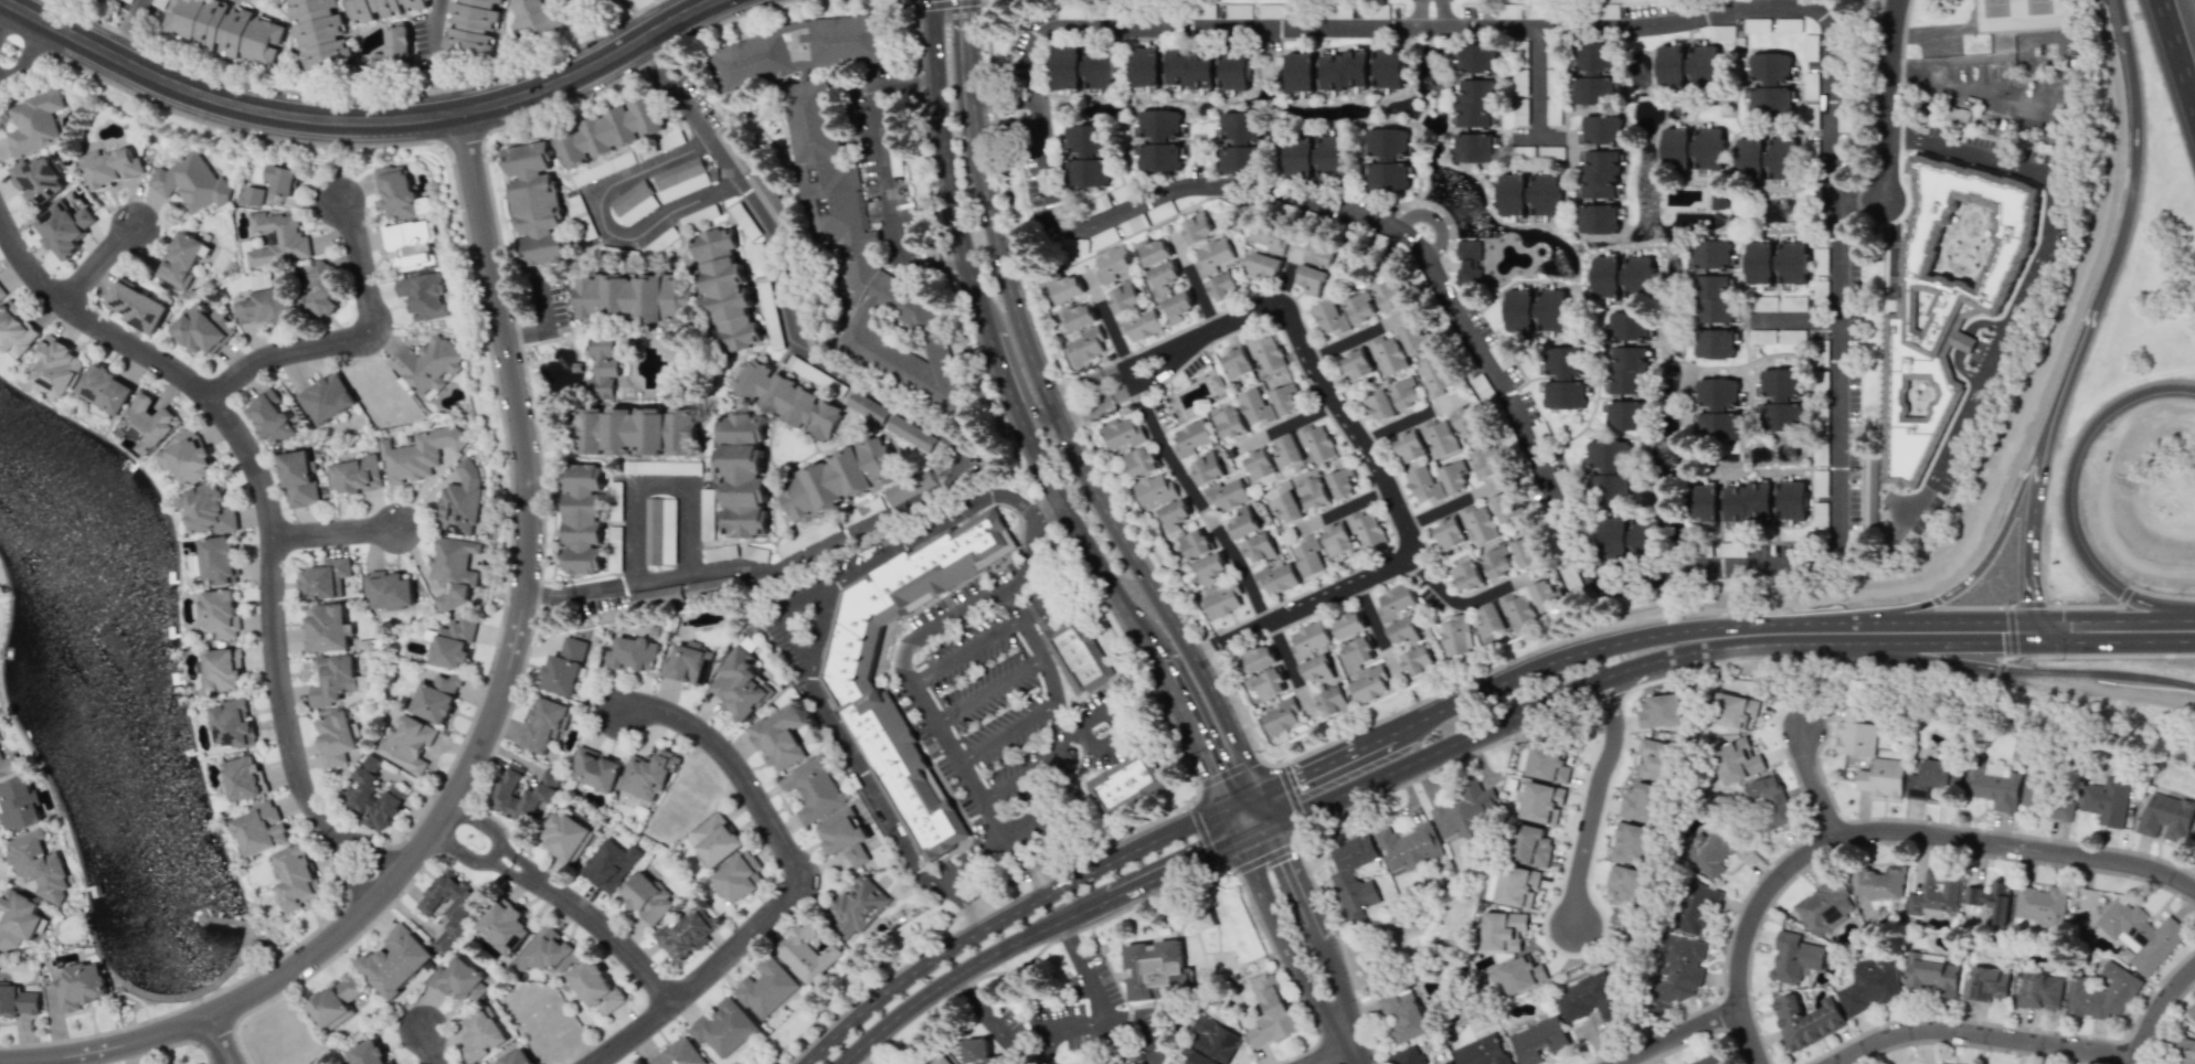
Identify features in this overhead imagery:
building: (385, 8)
building: (1337, 11)
building: (1506, 11)
road: (1420, 14)
road: (1436, 14)
building: (197, 20)
building: (540, 20)
building: (473, 25)
building: (1754, 25)
building: (1788, 25)
road: (1520, 26)
road: (126, 28)
building: (237, 32)
road: (2124, 32)
building: (320, 33)
building: (264, 41)
building: (397, 44)
road: (15, 45)
road: (2177, 53)
road: (437, 57)
building: (1476, 57)
building: (1704, 65)
building: (1144, 66)
building: (1671, 66)
building: (1065, 67)
building: (1188, 67)
road: (968, 68)
building: (1388, 68)
building: (1100, 70)
building: (1343, 70)
building: (1233, 71)
building: (1519, 71)
building: (1298, 72)
building: (1593, 73)
road: (1537, 78)
building: (1550, 82)
building: (1769, 84)
road: (1969, 88)
road: (1886, 99)
building: (1474, 103)
building: (1552, 111)
road: (1003, 116)
building: (1809, 119)
road: (361, 121)
building: (34, 123)
building: (1600, 129)
building: (612, 130)
building: (1158, 140)
building: (667, 141)
building: (730, 142)
building: (1239, 142)
building: (1675, 147)
building: (1473, 148)
building: (1709, 149)
building: (1333, 153)
building: (1085, 156)
building: (1749, 156)
building: (1297, 157)
building: (1387, 158)
building: (1783, 159)
building: (110, 167)
building: (1599, 173)
building: (38, 179)
building: (282, 179)
building: (681, 179)
road: (884, 179)
building: (192, 182)
road: (2131, 188)
building: (396, 191)
building: (844, 193)
building: (1512, 194)
building: (1545, 194)
building: (253, 195)
building: (1718, 198)
building: (768, 199)
road: (1858, 200)
building: (536, 202)
building: (634, 203)
building: (1097, 203)
road: (596, 217)
road: (1432, 217)
building: (1598, 219)
building: (745, 223)
building: (64, 227)
building: (1196, 228)
building: (1269, 237)
building: (278, 240)
building: (409, 243)
building: (1153, 251)
building: (1318, 252)
building: (1710, 253)
building: (1212, 256)
building: (759, 258)
building: (182, 259)
building: (1818, 260)
building: (1468, 263)
building: (1758, 263)
building: (1791, 263)
road: (99, 264)
building: (1113, 265)
building: (1262, 266)
building: (1639, 275)
building: (1163, 276)
road: (1286, 276)
building: (1605, 277)
building: (1311, 279)
road: (2028, 279)
road: (1196, 284)
building: (1222, 286)
building: (1064, 287)
building: (320, 290)
building: (725, 290)
building: (2, 292)
building: (424, 296)
building: (1388, 296)
building: (1943, 296)
building: (1122, 297)
building: (1712, 298)
building: (632, 299)
building: (1762, 304)
building: (1791, 304)
building: (265, 305)
building: (137, 306)
building: (1177, 306)
building: (1359, 308)
building: (1518, 309)
building: (1552, 310)
building: (1077, 316)
building: (1328, 317)
road: (1793, 318)
road: (1107, 324)
building: (1139, 324)
building: (1627, 324)
building: (15, 329)
building: (202, 329)
building: (1761, 336)
road: (1353, 337)
building: (1414, 339)
road: (353, 341)
building: (1714, 343)
building: (1085, 345)
road: (994, 347)
building: (1266, 352)
building: (1386, 355)
road: (1008, 360)
building: (1236, 362)
road: (2072, 362)
building: (428, 364)
building: (1355, 364)
building: (56, 365)
building: (603, 366)
building: (800, 366)
building: (1626, 370)
road: (1109, 371)
building: (1436, 375)
building: (1563, 377)
building: (1820, 382)
building: (106, 389)
road: (1121, 390)
building: (1403, 394)
building: (328, 398)
building: (1285, 398)
building: (1780, 398)
building: (791, 400)
building: (1254, 406)
building: (1379, 406)
building: (1716, 408)
building: (870, 409)
building: (1625, 415)
building: (271, 417)
road: (1409, 421)
building: (1466, 422)
building: (1229, 423)
building: (147, 424)
road: (1287, 425)
road: (1521, 426)
road: (936, 428)
building: (586, 432)
building: (649, 432)
building: (910, 433)
building: (1122, 433)
building: (1439, 436)
building: (1189, 437)
building: (1316, 443)
road: (1361, 446)
building: (1408, 446)
building: (1286, 450)
building: (418, 454)
building: (187, 457)
building: (1139, 461)
building: (1485, 461)
building: (1258, 465)
building: (664, 467)
building: (1206, 468)
building: (1607, 470)
building: (742, 474)
building: (356, 475)
building: (1453, 477)
building: (298, 478)
road: (1085, 478)
building: (837, 479)
building: (1340, 482)
road: (661, 483)
building: (1422, 485)
building: (909, 487)
building: (1154, 489)
road: (1192, 493)
building: (1226, 494)
building: (1312, 494)
road: (2070, 499)
building: (707, 500)
building: (1791, 500)
building: (460, 501)
building: (1746, 502)
building: (1703, 503)
building: (1284, 507)
road: (1344, 507)
road: (1446, 507)
building: (1504, 507)
building: (206, 509)
road: (268, 511)
building: (1171, 515)
road: (953, 518)
building: (582, 519)
building: (1242, 523)
building: (1477, 523)
road: (2033, 524)
building: (1366, 529)
building: (659, 531)
road: (688, 531)
building: (1448, 533)
road: (629, 535)
building: (1645, 535)
road: (337, 536)
building: (1612, 538)
road: (1028, 539)
building: (1335, 539)
building: (1195, 543)
building: (1258, 547)
building: (614, 549)
building: (1524, 551)
building: (1306, 556)
road: (1987, 557)
building: (219, 560)
building: (1495, 562)
building: (1209, 568)
building: (453, 571)
road: (850, 574)
building: (1466, 576)
building: (1275, 577)
building: (325, 578)
building: (707, 587)
building: (389, 588)
building: (656, 595)
building: (1544, 597)
road: (806, 598)
building: (1222, 600)
building: (1395, 600)
road: (1463, 603)
road: (959, 610)
building: (1518, 611)
building: (220, 613)
building: (1488, 619)
building: (1347, 624)
road: (1375, 626)
building: (327, 627)
road: (2114, 629)
road: (1945, 630)
building: (1402, 631)
road: (1781, 632)
road: (1228, 635)
building: (1454, 636)
road: (798, 638)
building: (1307, 639)
building: (453, 642)
road: (902, 650)
road: (965, 650)
building: (1358, 651)
road: (1688, 651)
building: (634, 653)
building: (1078, 653)
road: (2098, 655)
building: (1258, 658)
building: (1417, 661)
road: (1287, 663)
road: (1545, 663)
building: (688, 664)
building: (564, 667)
building: (221, 668)
building: (1316, 669)
road: (2000, 669)
road: (1634, 670)
road: (1047, 672)
road: (2024, 672)
building: (333, 680)
building: (849, 683)
building: (1269, 683)
building: (1369, 684)
building: (739, 685)
road: (987, 688)
building: (437, 698)
road: (1798, 699)
building: (1332, 701)
building: (1733, 710)
building: (1661, 711)
building: (1280, 716)
road: (1091, 717)
building: (233, 723)
building: (543, 724)
road: (489, 727)
road: (1006, 730)
road: (1197, 731)
building: (1855, 733)
building: (335, 737)
building: (778, 737)
building: (0, 740)
road: (1374, 740)
building: (407, 743)
road: (848, 748)
road: (955, 755)
road: (1429, 759)
building: (1654, 759)
building: (1737, 760)
building: (8, 764)
building: (1548, 764)
road: (1028, 766)
building: (593, 769)
road: (1298, 774)
building: (647, 776)
building: (1931, 776)
building: (242, 777)
building: (1881, 778)
building: (1125, 780)
road: (1610, 780)
road: (1815, 785)
building: (2033, 785)
building: (1991, 786)
building: (349, 789)
building: (812, 789)
building: (539, 792)
building: (373, 795)
traffic signals: (1241, 799)
building: (2104, 800)
building: (1541, 802)
road: (1592, 802)
building: (1641, 802)
building: (1770, 802)
building: (19, 804)
building: (2060, 807)
road: (1247, 810)
building: (1466, 810)
road: (1333, 813)
building: (2166, 817)
traffic signals: (1252, 822)
building: (259, 829)
road: (1885, 831)
building: (844, 836)
building: (564, 837)
building: (715, 839)
road: (1890, 840)
building: (1631, 842)
building: (2193, 842)
road: (1000, 843)
building: (1529, 845)
building: (1408, 847)
building: (1708, 851)
road: (1178, 859)
road: (1976, 860)
building: (609, 864)
road: (1758, 864)
building: (38, 865)
road: (1030, 865)
building: (296, 876)
building: (739, 876)
building: (1354, 877)
building: (1880, 882)
road: (793, 883)
building: (1516, 885)
building: (1625, 885)
building: (1934, 894)
building: (646, 897)
building: (1991, 900)
road: (570, 901)
road: (966, 904)
building: (1824, 905)
building: (2040, 905)
building: (449, 906)
building: (1695, 906)
building: (857, 907)
road: (1010, 913)
building: (20, 918)
building: (503, 926)
road: (1315, 927)
building: (1502, 930)
building: (686, 933)
building: (2139, 935)
road: (1285, 940)
building: (545, 951)
building: (807, 951)
building: (1793, 957)
building: (395, 960)
road: (891, 961)
building: (1150, 966)
road: (965, 968)
road: (1082, 970)
building: (1676, 972)
building: (1929, 973)
building: (1517, 975)
building: (458, 980)
building: (1986, 983)
building: (1871, 985)
building: (79, 986)
building: (595, 986)
building: (765, 988)
building: (2040, 991)
building: (2101, 993)
building: (1587, 998)
building: (17, 1000)
building: (335, 1002)
building: (2191, 1010)
road: (2159, 1011)
building: (1402, 1012)
building: (1270, 1013)
building: (1805, 1020)
road: (2015, 1024)
building: (724, 1029)
building: (481, 1033)
road: (1682, 1035)
road: (1700, 1036)
road: (1987, 1038)
road: (223, 1039)
road: (1033, 1040)
building: (1538, 1040)
road: (1146, 1041)
building: (1209, 1043)
road: (1980, 1045)
road: (434, 1047)
building: (1481, 1051)
building: (2184, 1051)
building: (977, 1052)
building: (368, 1054)
building: (678, 1054)
road: (1334, 1054)
road: (1360, 1054)
building: (1406, 1056)
building: (515, 1057)
building: (940, 1060)
building: (1708, 1060)
road: (849, 1061)
building: (1448, 1062)
building: (1100, 1063)
building: (1139, 1063)
building: (1942, 1063)

